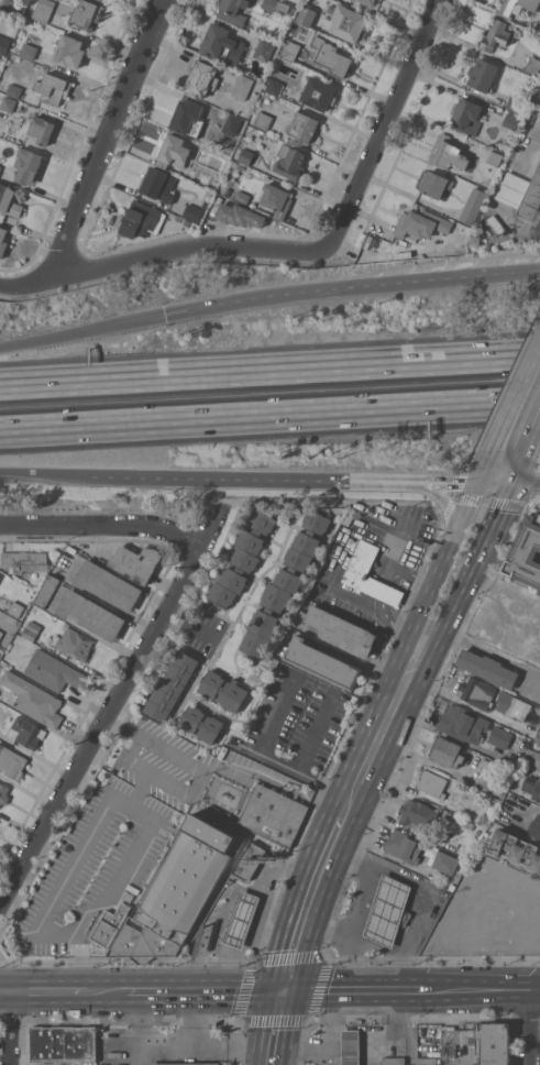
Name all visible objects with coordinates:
building: (379, 0)
building: (277, 6)
building: (364, 6)
building: (10, 7)
building: (518, 7)
building: (51, 10)
building: (30, 11)
building: (233, 11)
building: (86, 13)
building: (306, 14)
building: (350, 24)
building: (499, 34)
building: (3, 44)
building: (222, 45)
building: (264, 50)
building: (29, 51)
building: (69, 51)
building: (289, 52)
building: (331, 56)
building: (532, 66)
building: (483, 75)
building: (201, 78)
building: (242, 86)
building: (274, 86)
building: (52, 88)
building: (14, 90)
building: (319, 94)
building: (8, 103)
building: (514, 103)
building: (466, 116)
building: (188, 118)
building: (263, 120)
building: (511, 120)
building: (304, 125)
road: (384, 125)
building: (42, 129)
building: (233, 131)
road: (115, 135)
building: (173, 151)
building: (447, 153)
building: (245, 156)
building: (493, 157)
building: (290, 162)
building: (27, 165)
building: (0, 167)
building: (207, 178)
building: (158, 184)
building: (433, 184)
building: (521, 194)
building: (242, 197)
building: (276, 199)
building: (8, 202)
building: (472, 208)
building: (195, 209)
building: (240, 215)
building: (140, 219)
building: (187, 222)
building: (421, 223)
building: (497, 224)
building: (2, 241)
road: (161, 251)
road: (351, 285)
traffic signals: (164, 315)
road: (81, 331)
road: (269, 369)
road: (269, 416)
road: (528, 420)
road: (507, 468)
road: (45, 473)
road: (251, 477)
road: (454, 485)
road: (518, 485)
road: (533, 486)
traffic signals: (498, 488)
road: (452, 494)
road: (331, 499)
road: (491, 501)
road: (535, 506)
building: (350, 516)
road: (484, 517)
road: (102, 525)
road: (449, 536)
building: (70, 549)
building: (527, 551)
building: (242, 559)
building: (362, 560)
building: (24, 561)
building: (136, 562)
road: (463, 562)
building: (108, 584)
building: (284, 584)
building: (46, 591)
road: (449, 592)
building: (15, 608)
building: (90, 614)
road: (189, 623)
building: (31, 630)
building: (341, 630)
building: (1, 634)
building: (74, 643)
road: (486, 650)
building: (322, 662)
building: (487, 668)
building: (55, 671)
road: (538, 684)
building: (172, 685)
building: (223, 690)
building: (476, 692)
building: (33, 700)
building: (513, 705)
road: (109, 709)
road: (393, 711)
building: (539, 711)
building: (201, 724)
building: (462, 724)
road: (318, 728)
building: (25, 732)
building: (499, 736)
building: (537, 738)
road: (269, 750)
building: (445, 751)
building: (535, 758)
building: (12, 762)
road: (202, 771)
building: (431, 782)
building: (532, 787)
building: (3, 793)
road: (134, 803)
road: (533, 805)
building: (273, 814)
building: (418, 814)
building: (483, 817)
building: (535, 826)
building: (477, 834)
building: (404, 846)
building: (515, 848)
building: (249, 861)
building: (445, 863)
building: (178, 891)
road: (430, 891)
building: (128, 896)
road: (313, 901)
building: (388, 910)
road: (261, 914)
building: (241, 919)
building: (110, 924)
road: (352, 924)
road: (329, 925)
traffic signals: (285, 989)
road: (357, 989)
road: (485, 989)
road: (206, 990)
road: (7, 992)
road: (49, 992)
road: (107, 992)
road: (192, 1019)
road: (536, 1023)
road: (274, 1026)
road: (327, 1026)
road: (350, 1028)
road: (14, 1029)
road: (128, 1029)
building: (481, 1042)
building: (62, 1043)
road: (199, 1046)
building: (351, 1046)
building: (394, 1061)
building: (185, 1063)

